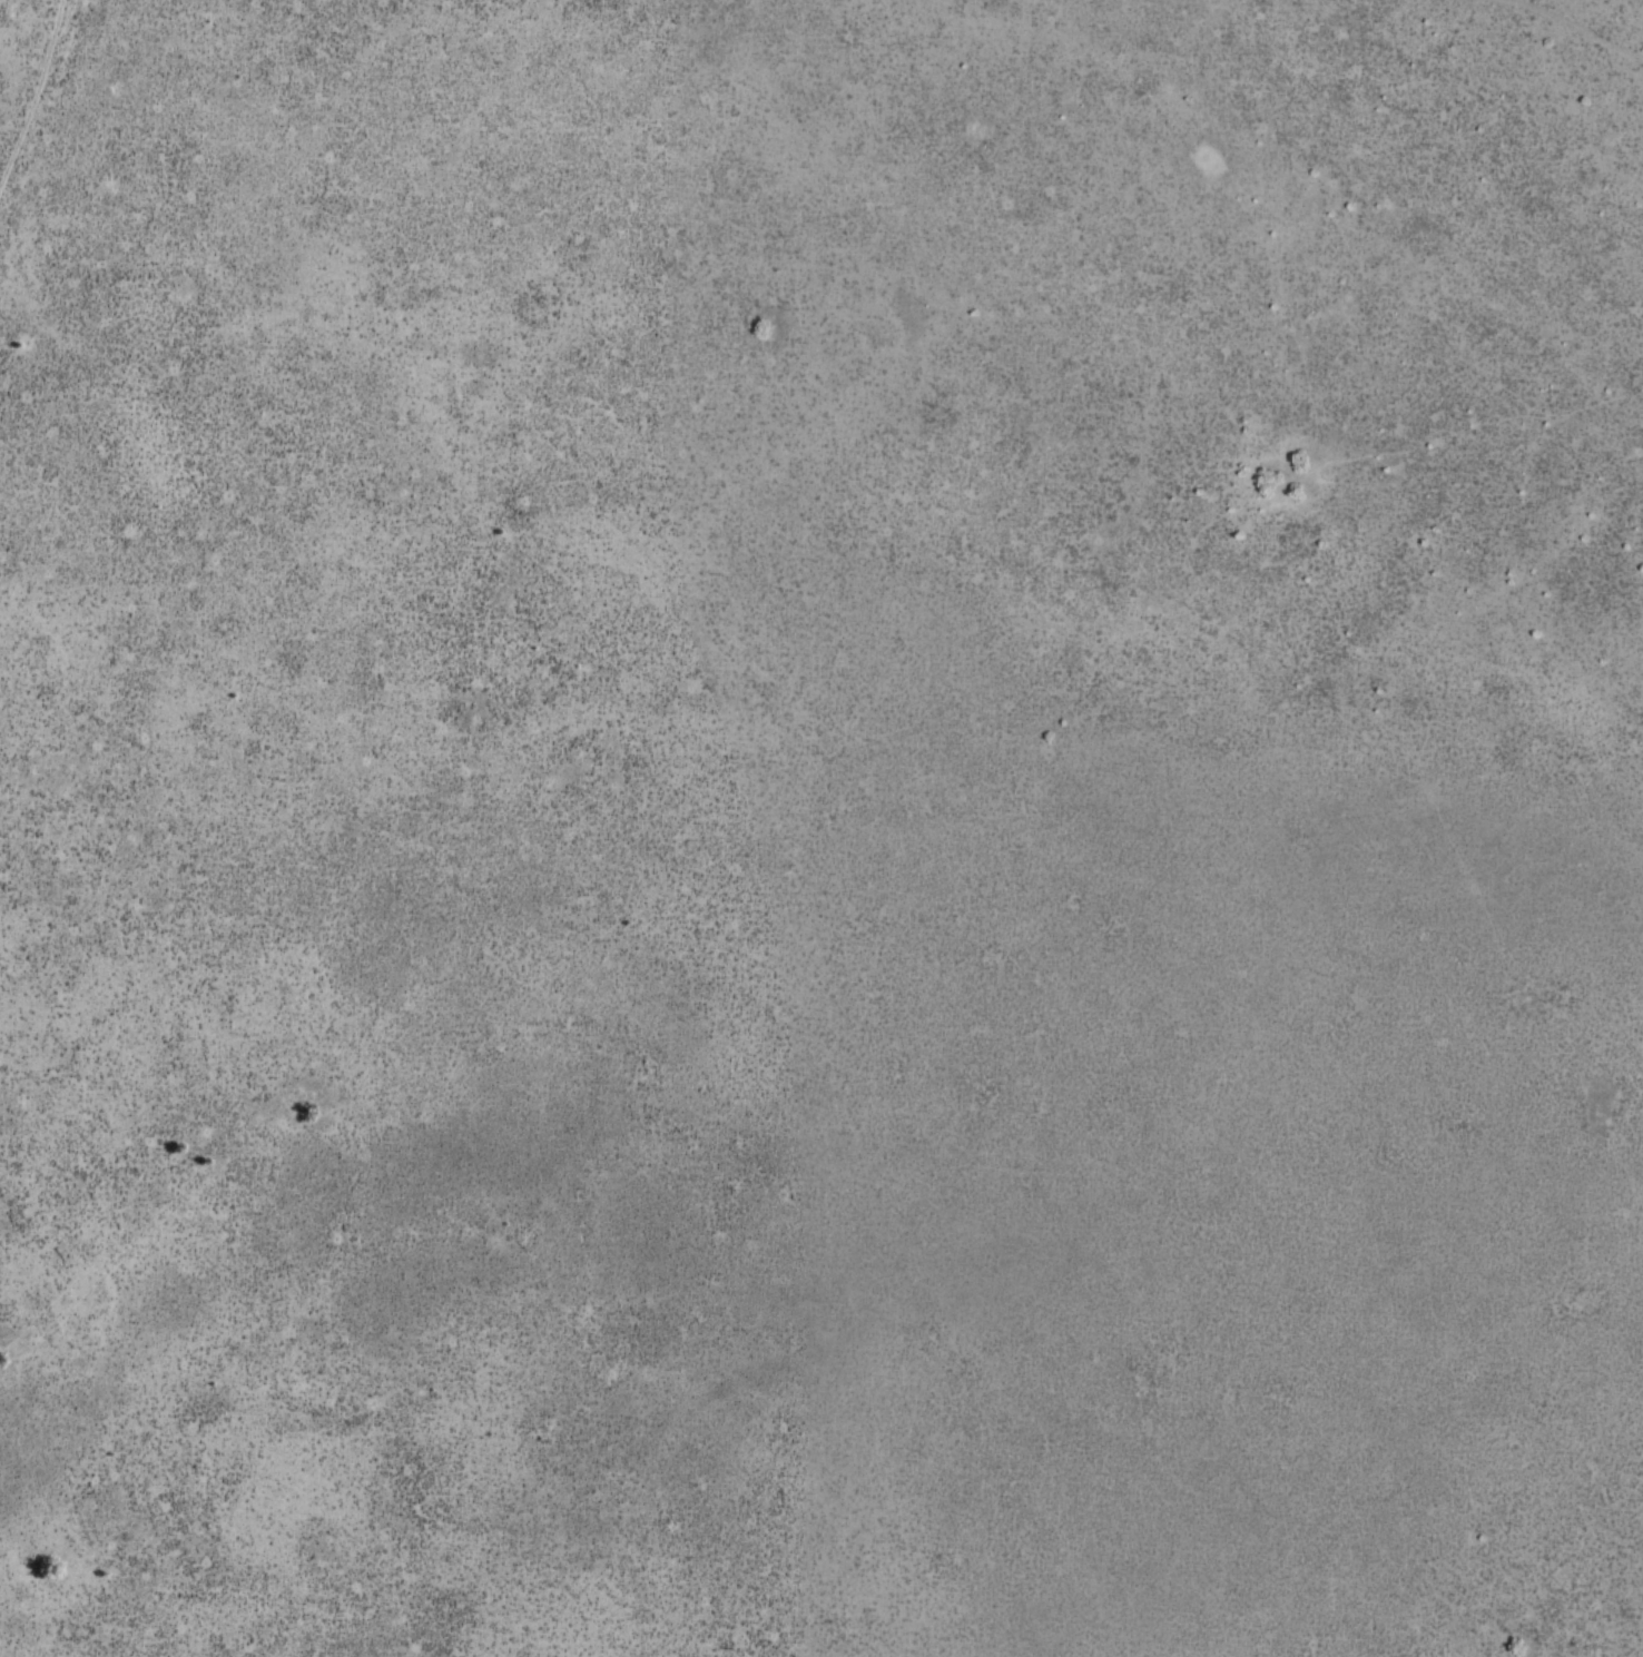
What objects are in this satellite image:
road: (1621, 14)
road: (32, 95)

